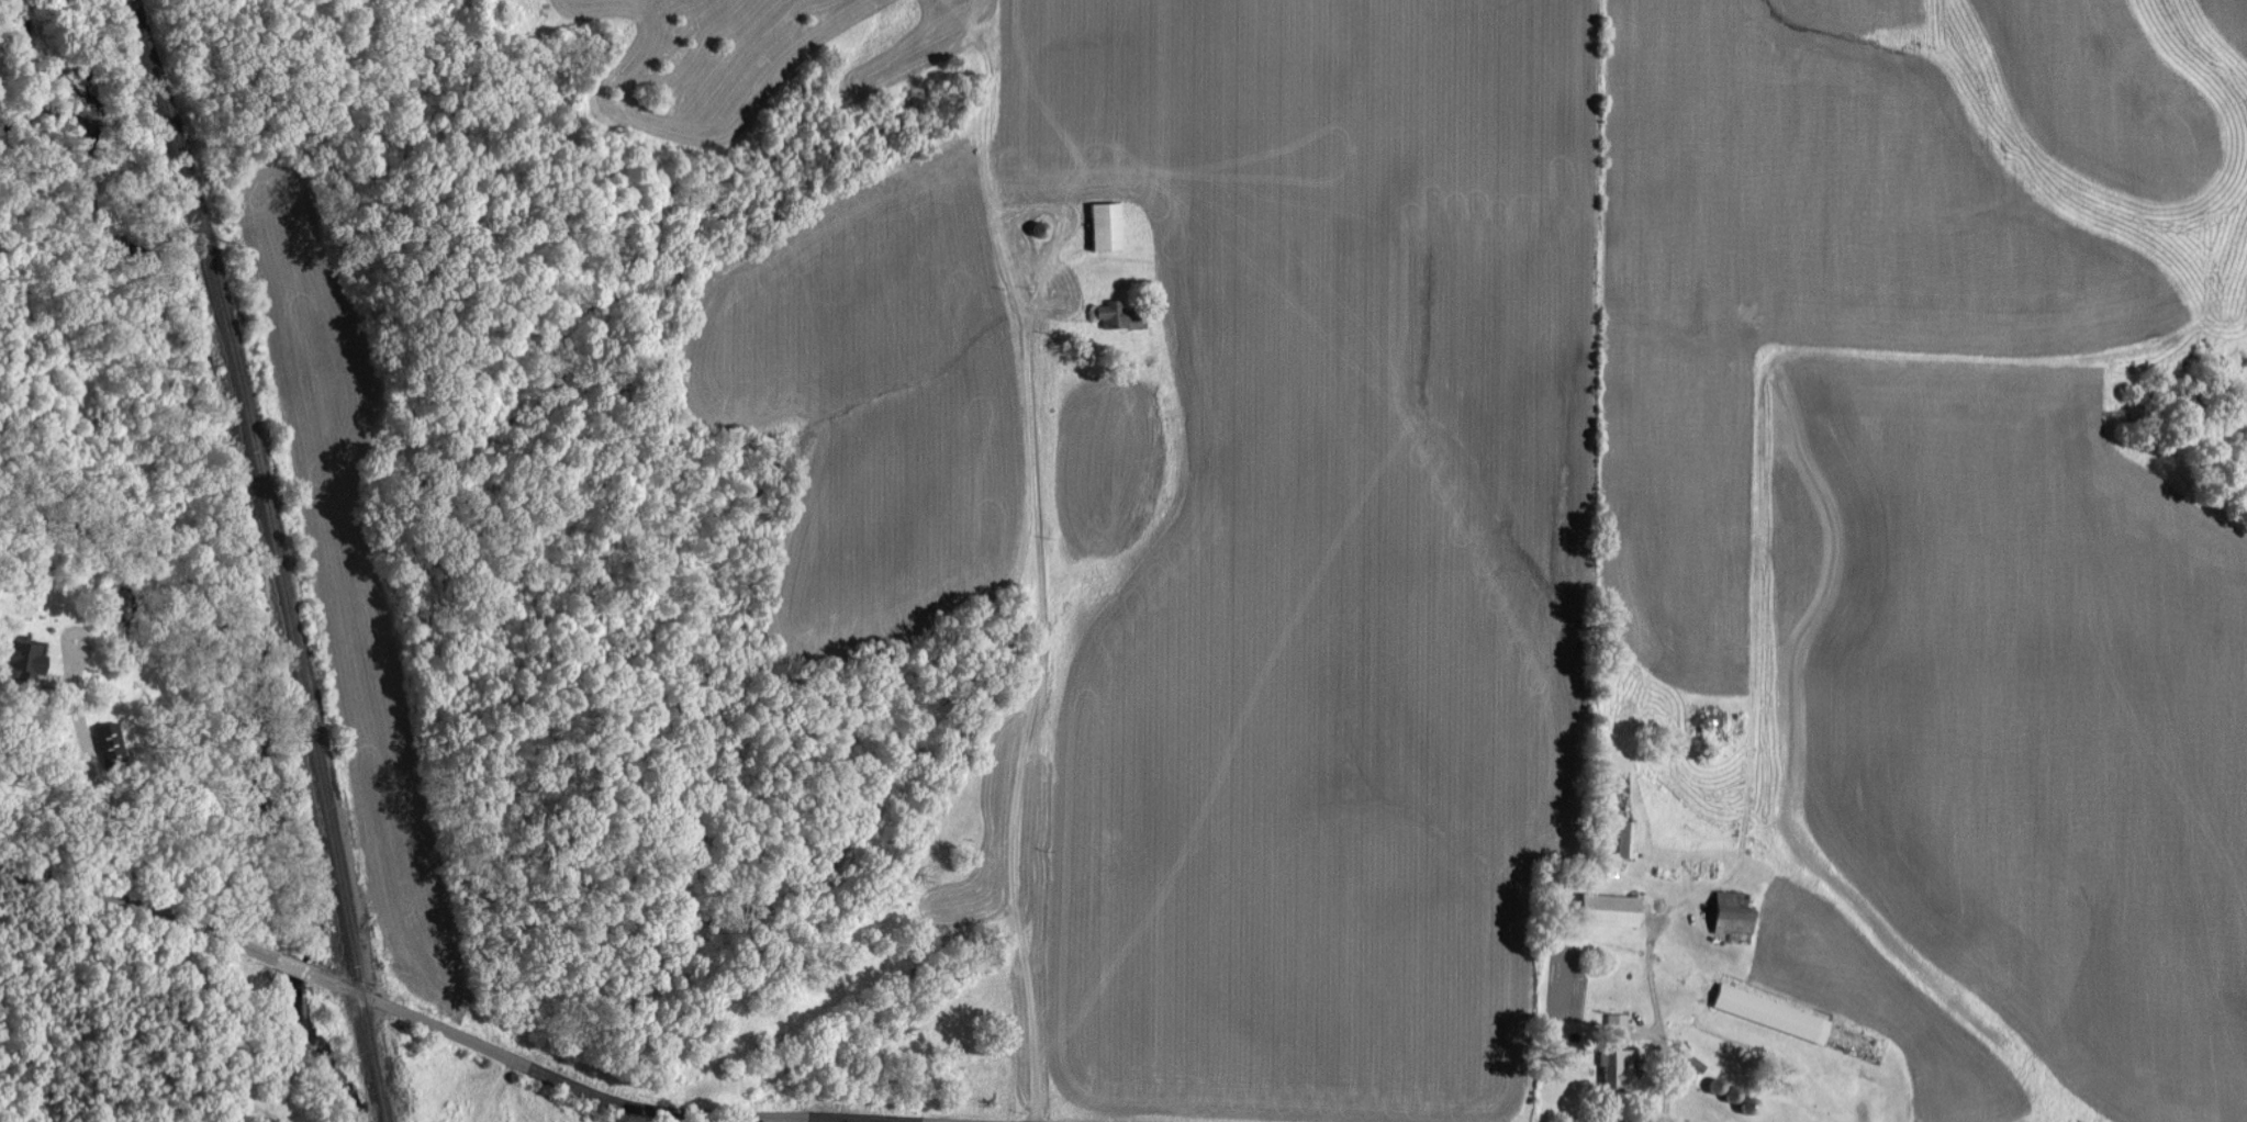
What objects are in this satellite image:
building: (1102, 224)
building: (1106, 313)
railway: (264, 556)
building: (20, 658)
road: (1044, 731)
building: (107, 737)
road: (87, 786)
building: (1624, 838)
building: (1603, 908)
building: (1725, 912)
road: (431, 1024)

